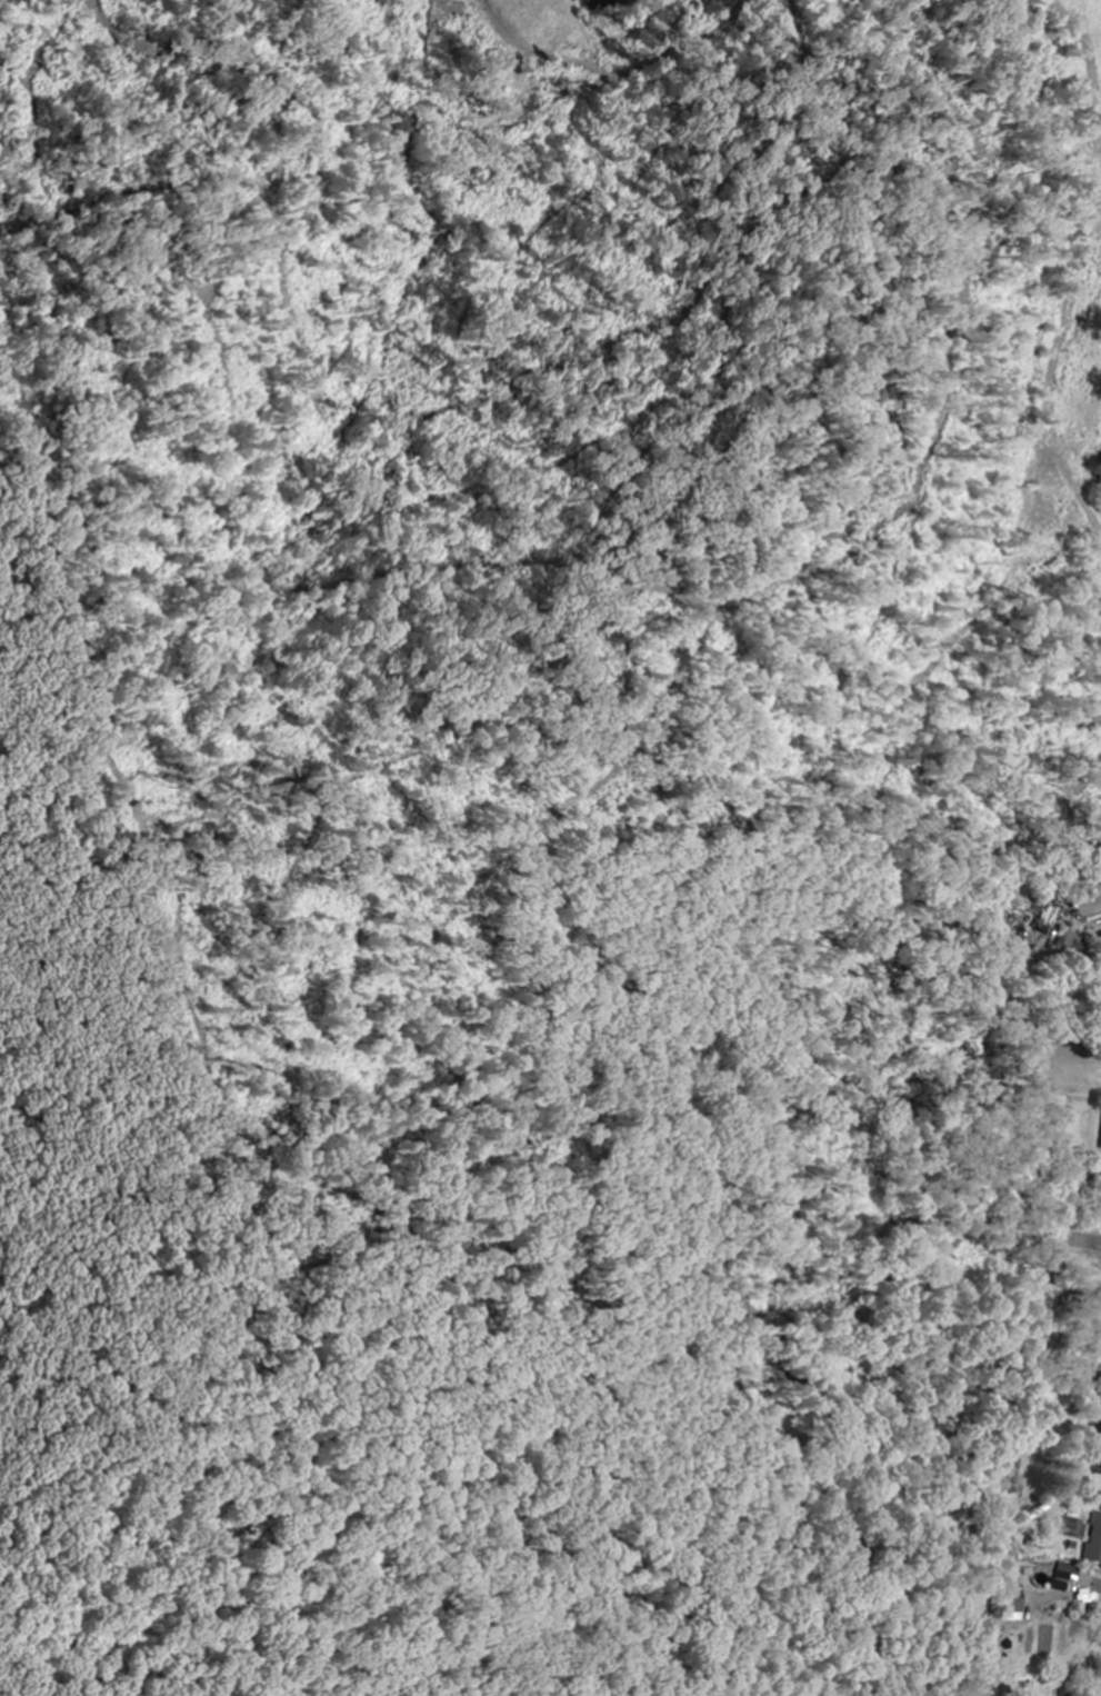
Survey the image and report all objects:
building: (1071, 946)
building: (1100, 1144)
building: (1099, 1233)
building: (1098, 1386)
building: (1093, 1542)
building: (1057, 1579)
building: (1007, 1595)

